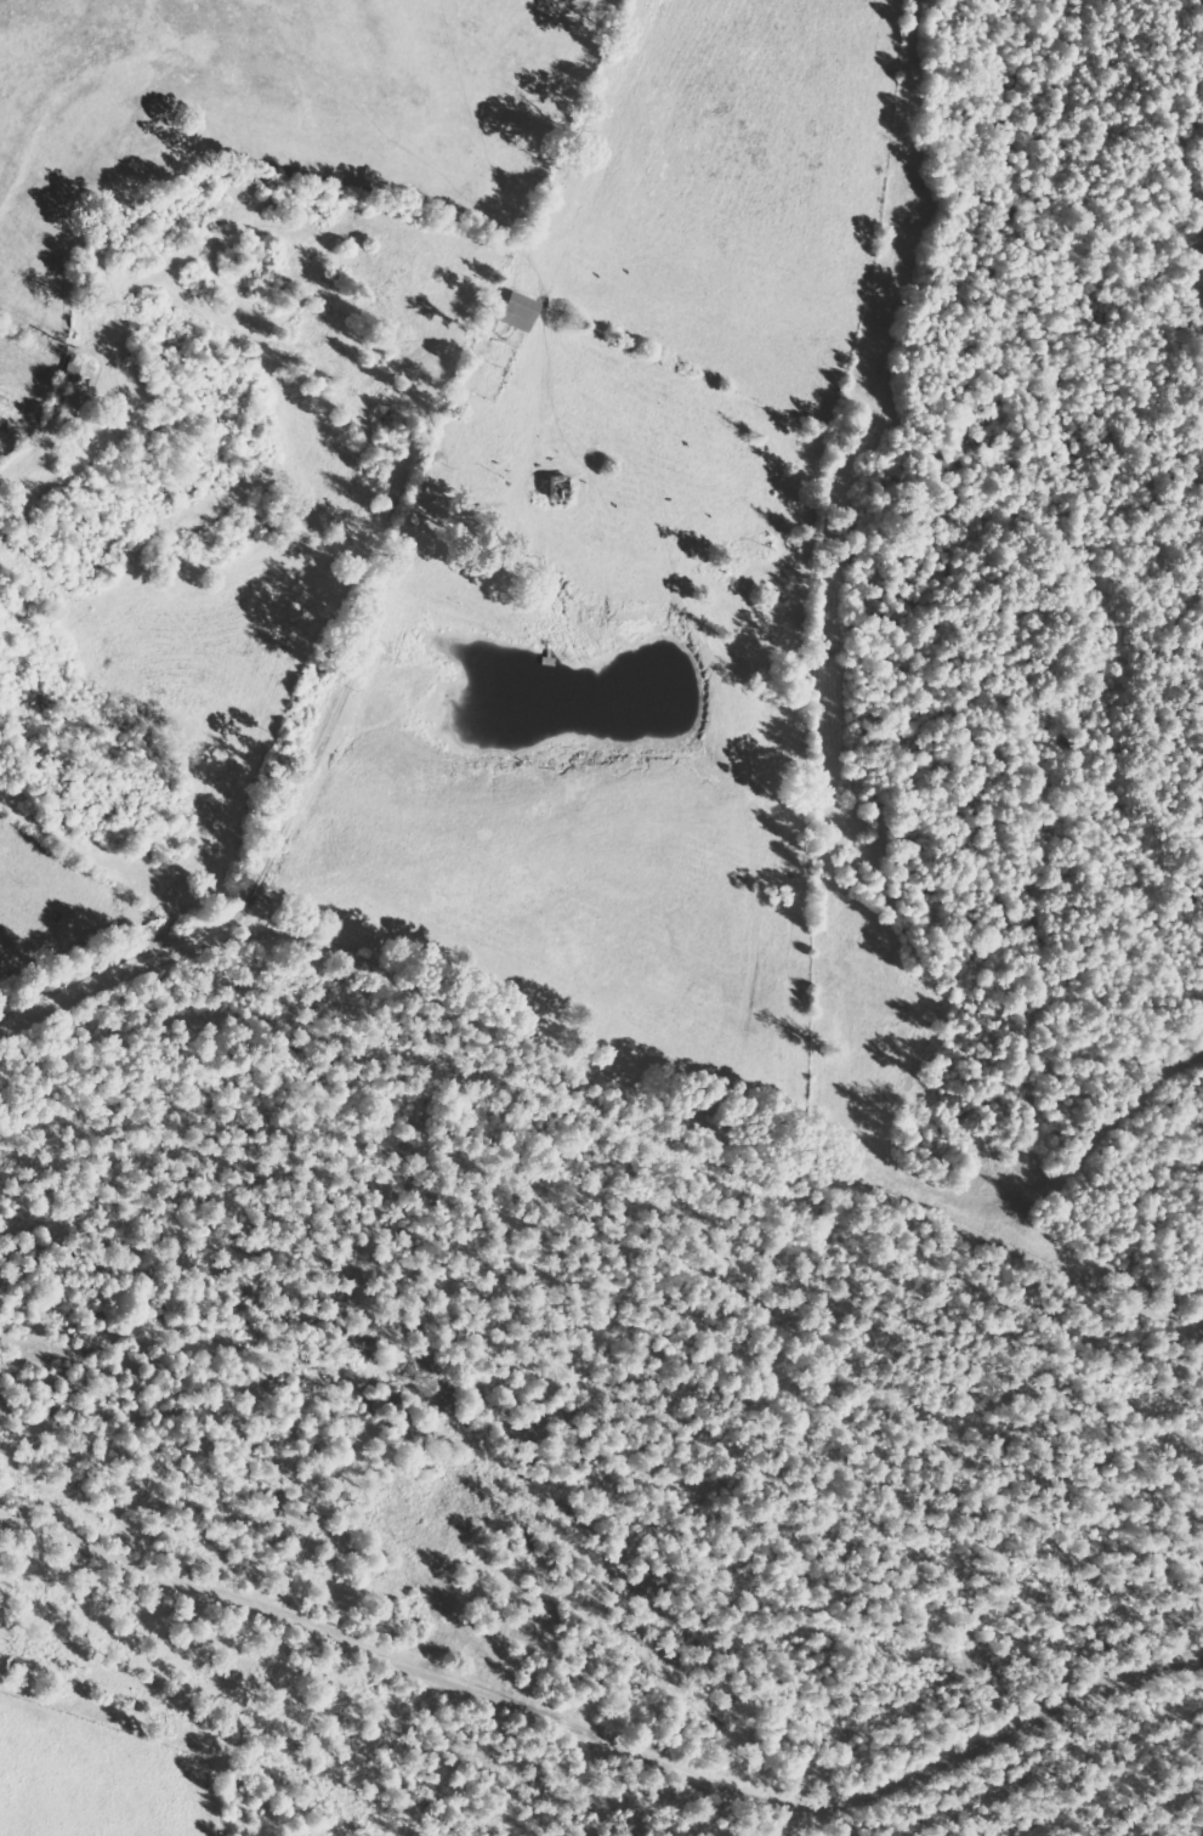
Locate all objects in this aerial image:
building: (523, 311)
road: (262, 1417)
road: (13, 1746)

